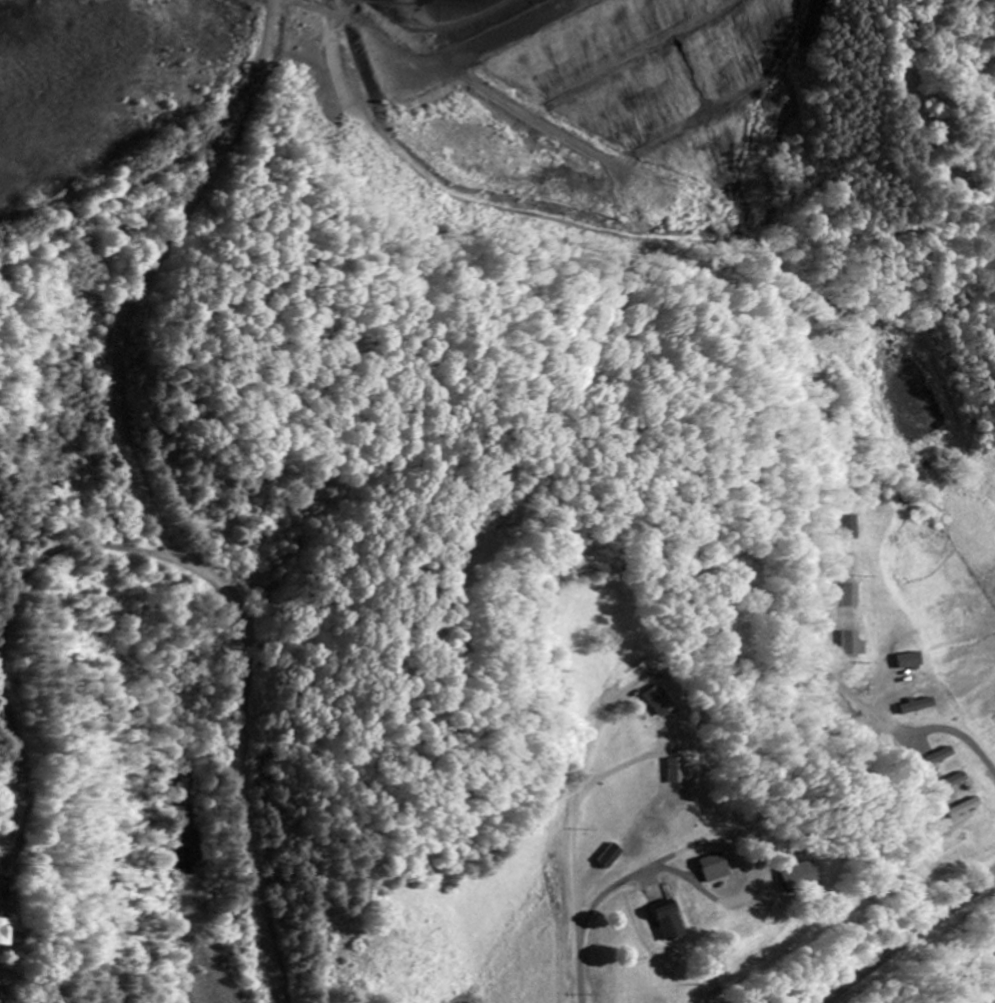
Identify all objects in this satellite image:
road: (80, 232)
road: (143, 504)
building: (853, 597)
road: (4, 646)
building: (854, 646)
building: (908, 662)
building: (656, 700)
road: (855, 701)
building: (917, 707)
building: (674, 769)
road: (614, 772)
building: (955, 786)
building: (964, 809)
road: (574, 828)
road: (721, 847)
building: (610, 855)
building: (711, 869)
building: (793, 877)
building: (665, 919)
building: (3, 931)
road: (909, 938)
road: (20, 980)

